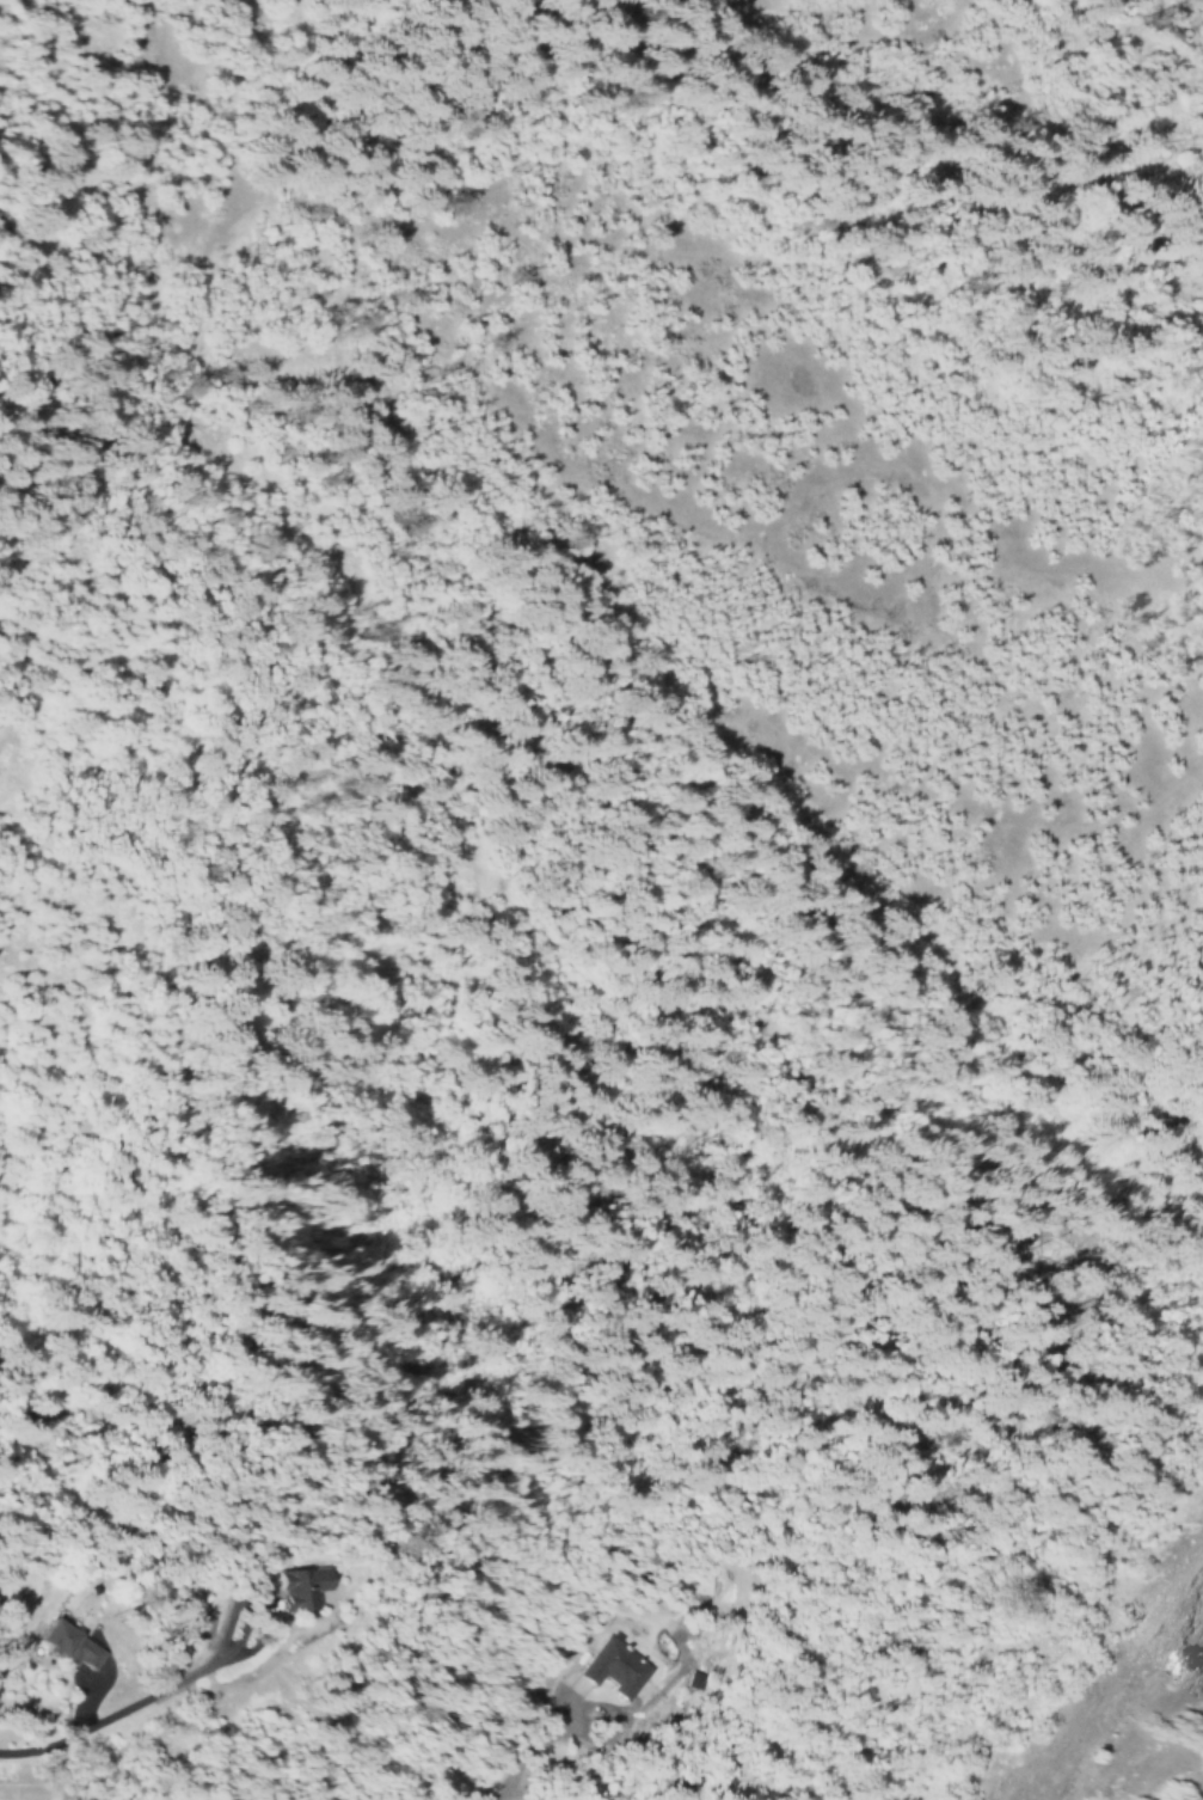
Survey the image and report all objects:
building: (320, 1584)
building: (74, 1642)
building: (616, 1667)
road: (147, 1697)
road: (614, 1720)
road: (523, 1769)

